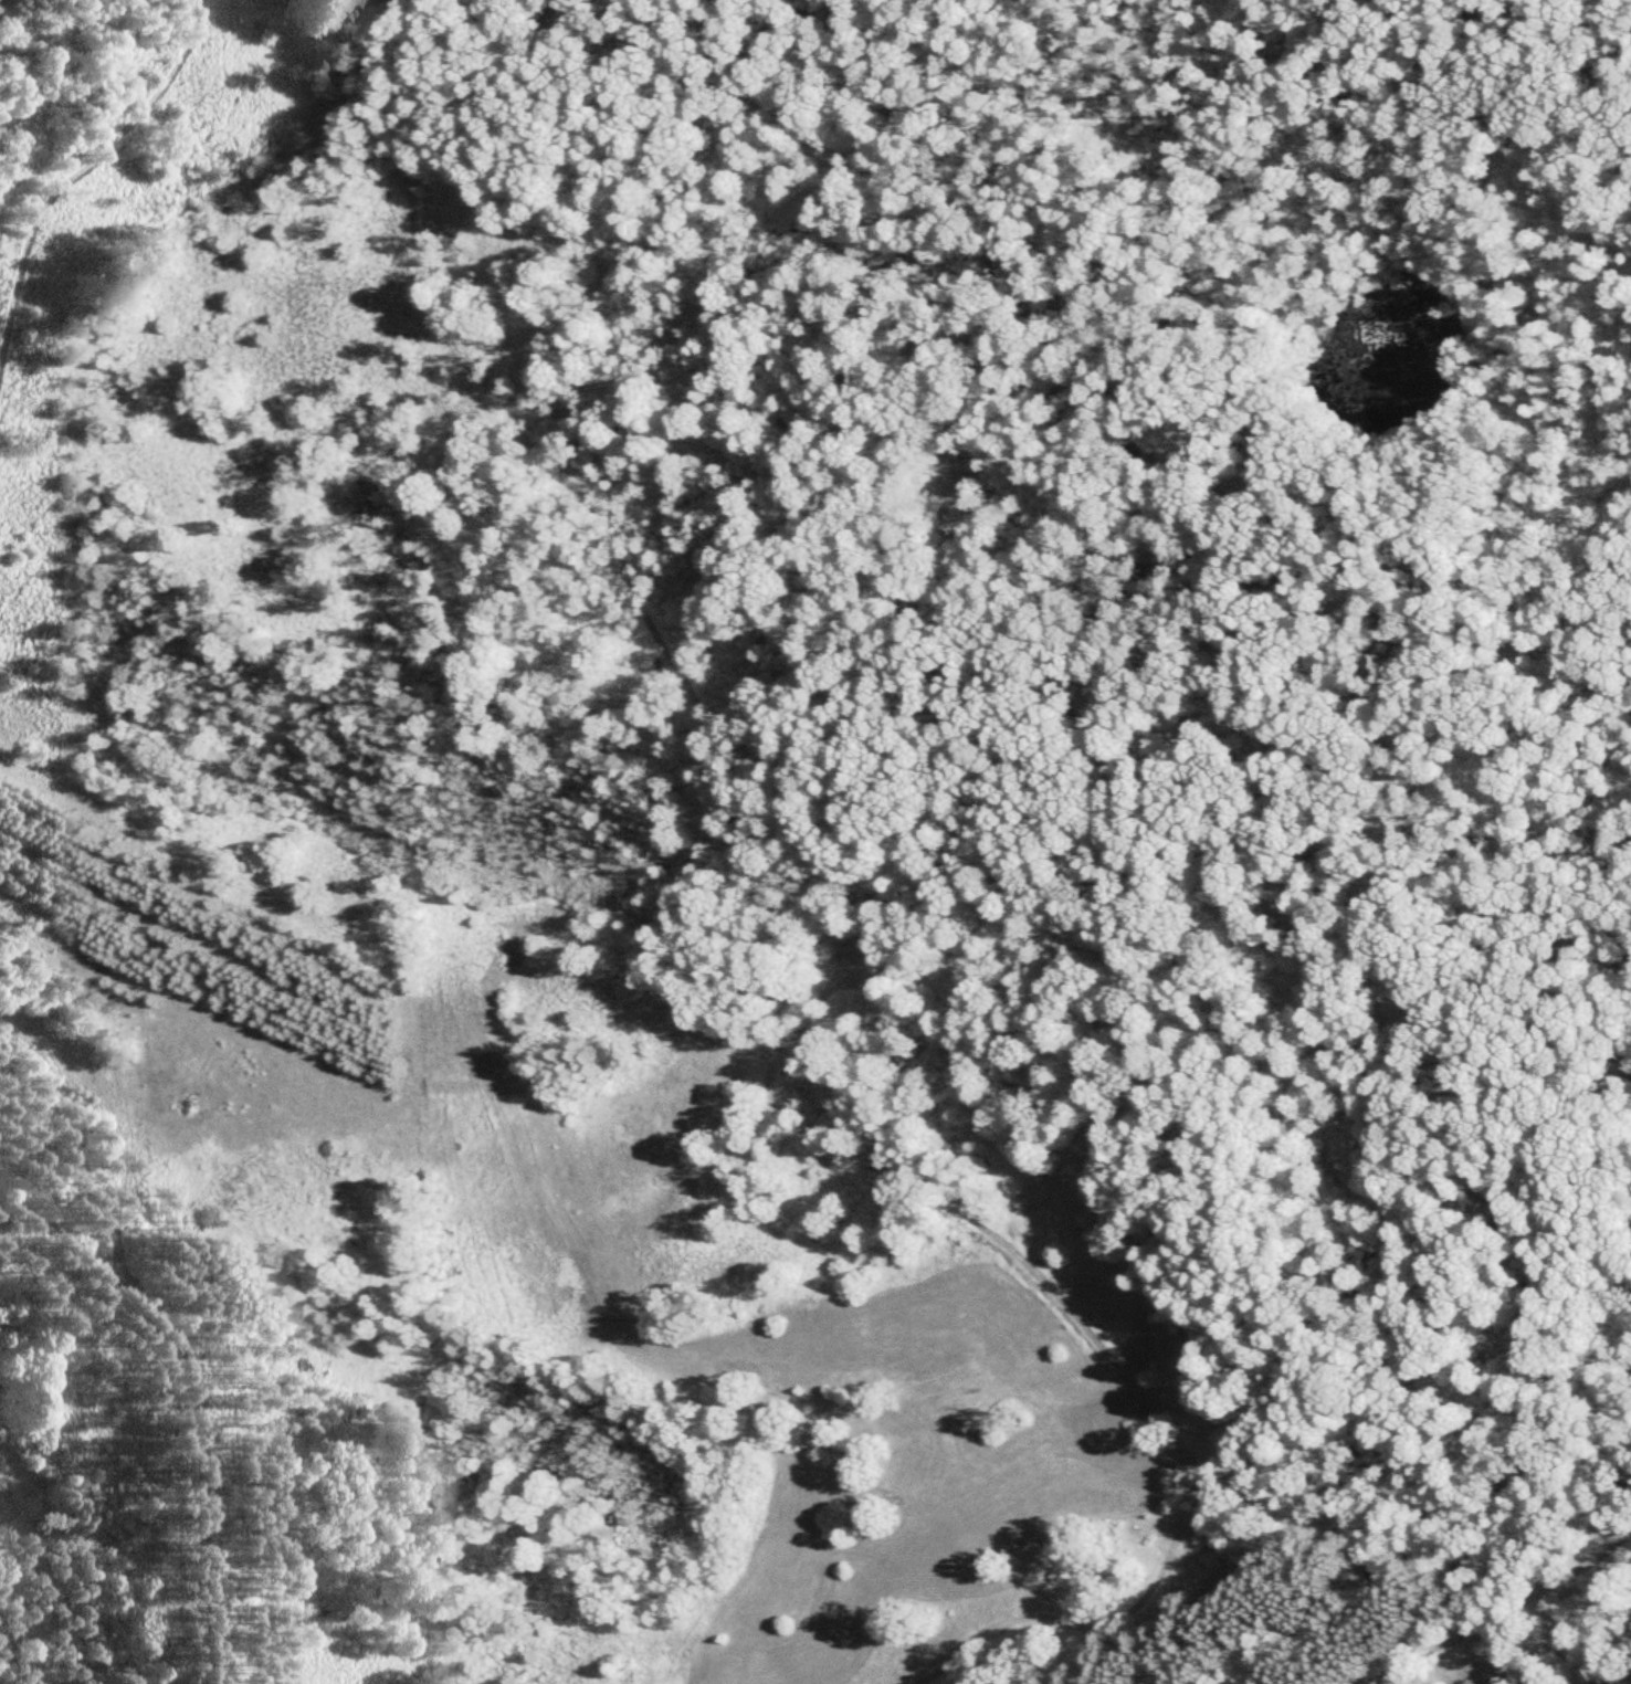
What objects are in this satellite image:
road: (83, 165)
road: (1, 1011)
road: (29, 1036)
road: (118, 1160)
road: (182, 1401)
road: (1519, 1604)

